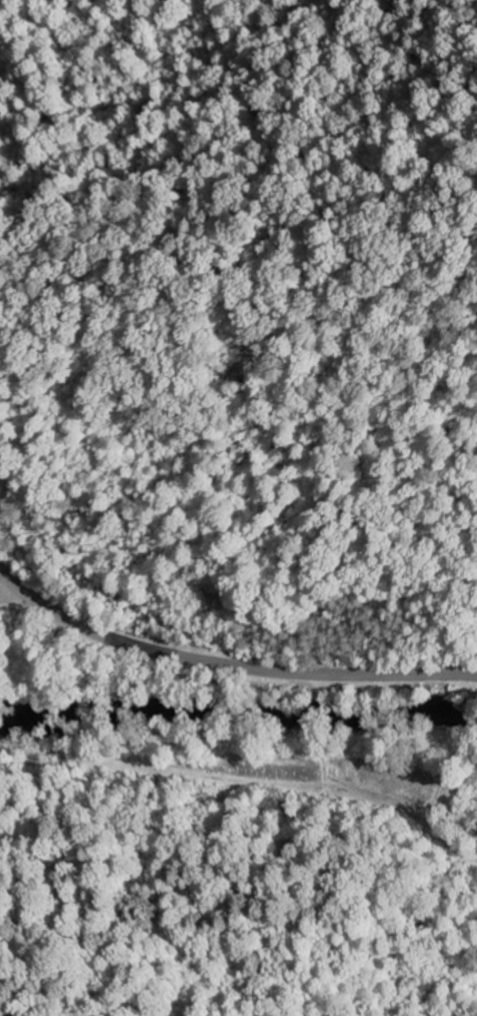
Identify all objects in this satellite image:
road: (226, 666)

